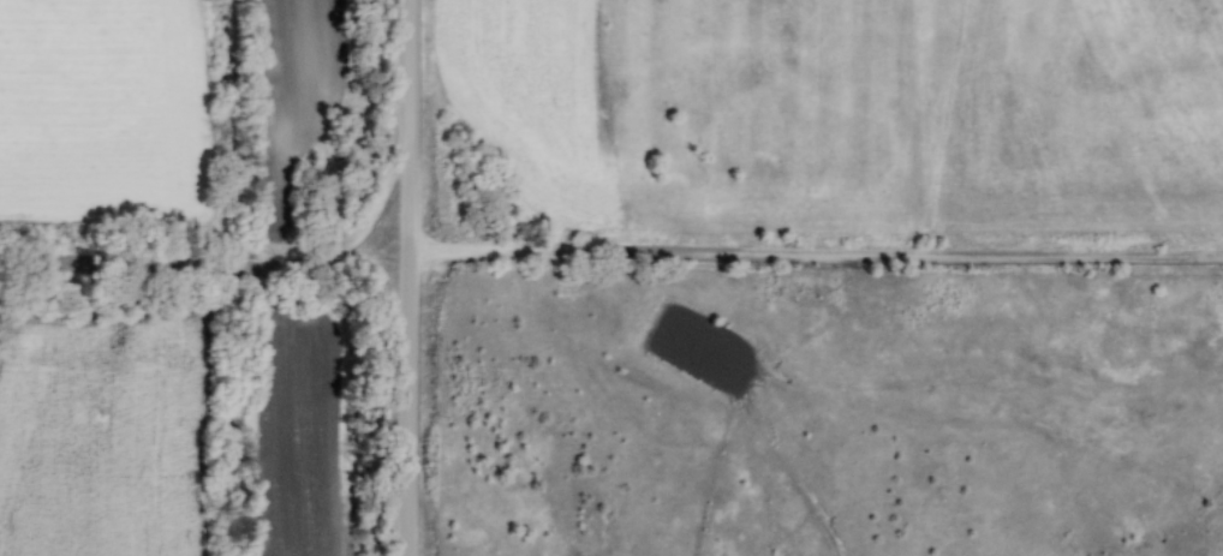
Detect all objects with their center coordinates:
road: (383, 139)
road: (611, 259)
road: (408, 328)

